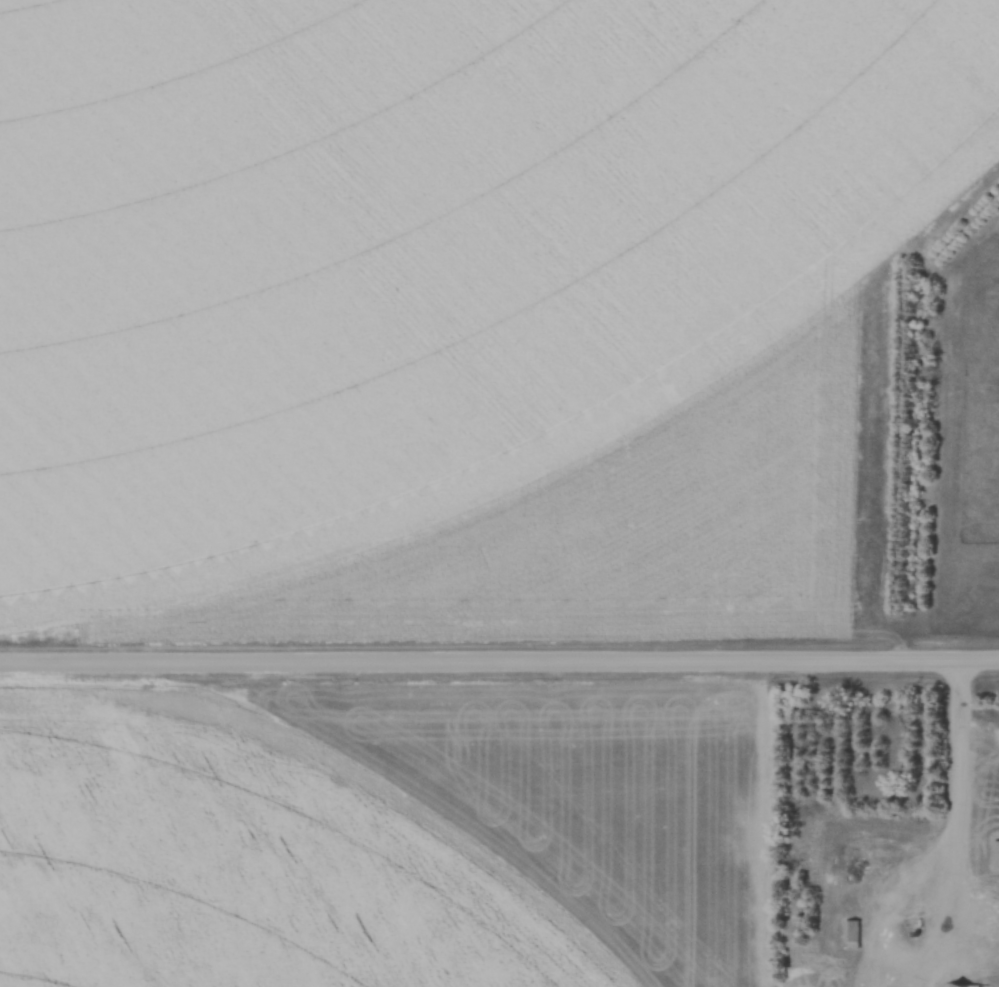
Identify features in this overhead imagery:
road: (499, 664)
road: (962, 756)
building: (996, 855)
building: (851, 934)
building: (961, 985)

